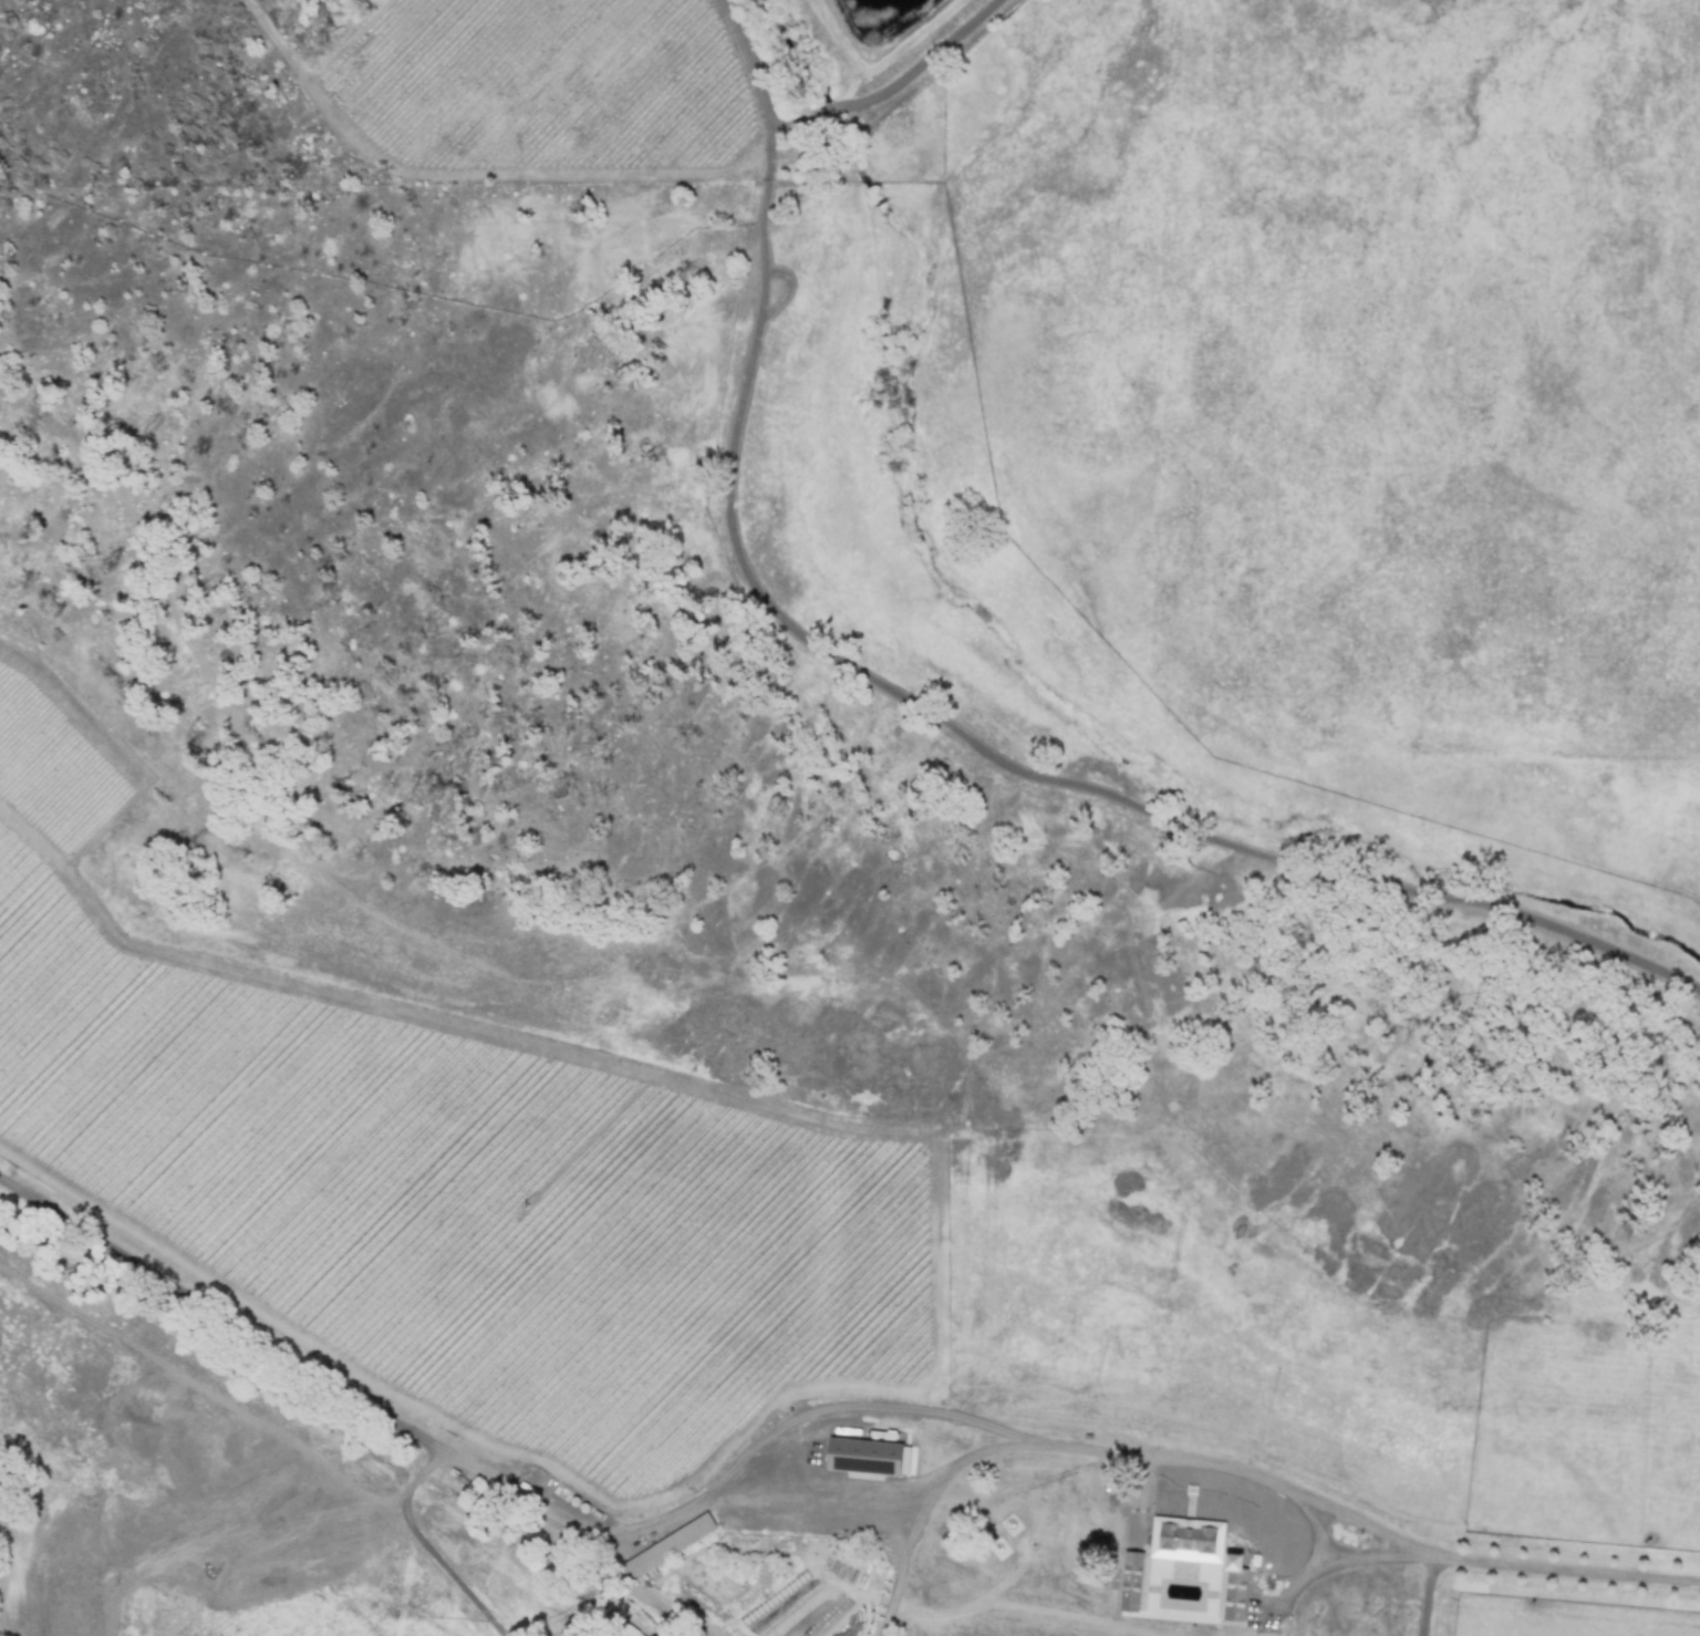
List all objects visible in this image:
building: (863, 1457)
road: (1254, 1474)
building: (664, 1547)
building: (1201, 1559)
building: (1131, 1582)

